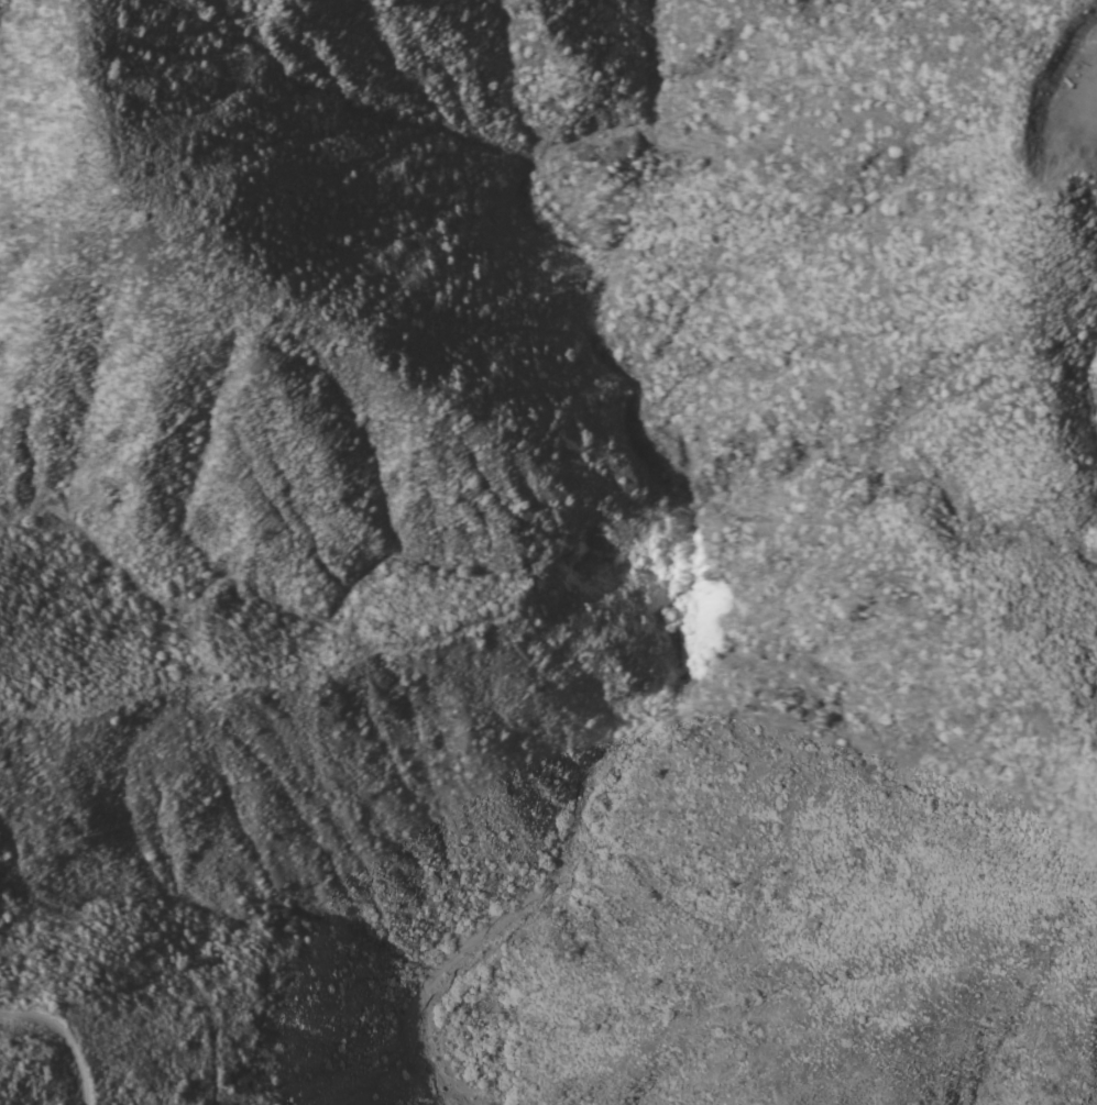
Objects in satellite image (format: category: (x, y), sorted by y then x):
quarry: (991, 45)
road: (64, 1039)

